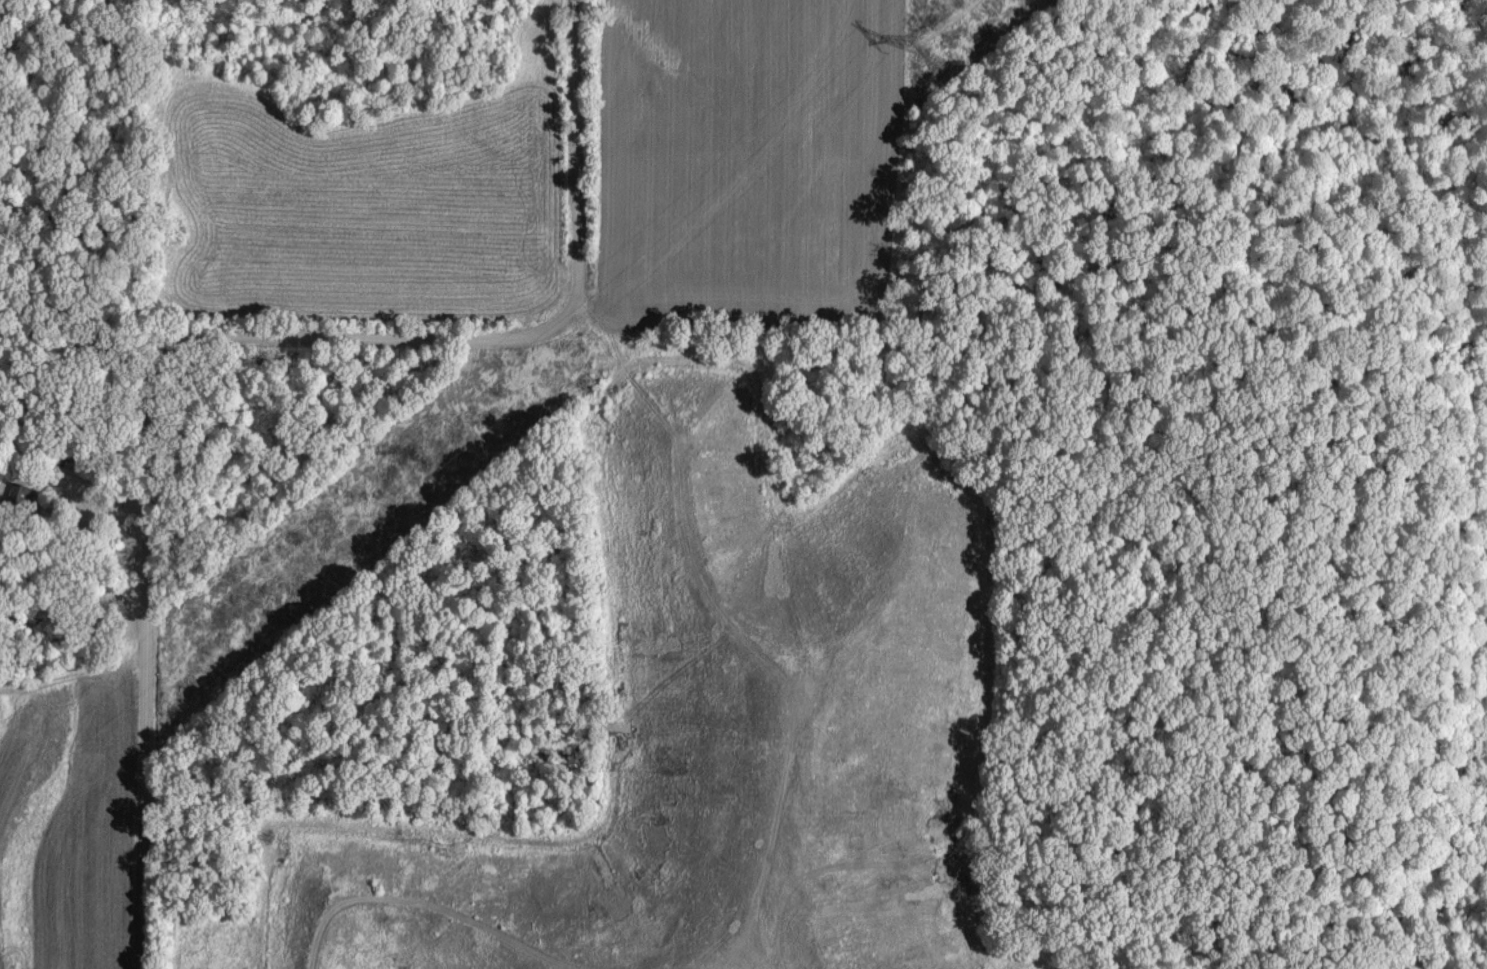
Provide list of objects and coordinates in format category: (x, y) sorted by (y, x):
power tower: (915, 44)
road: (210, 333)
power tower: (425, 454)

